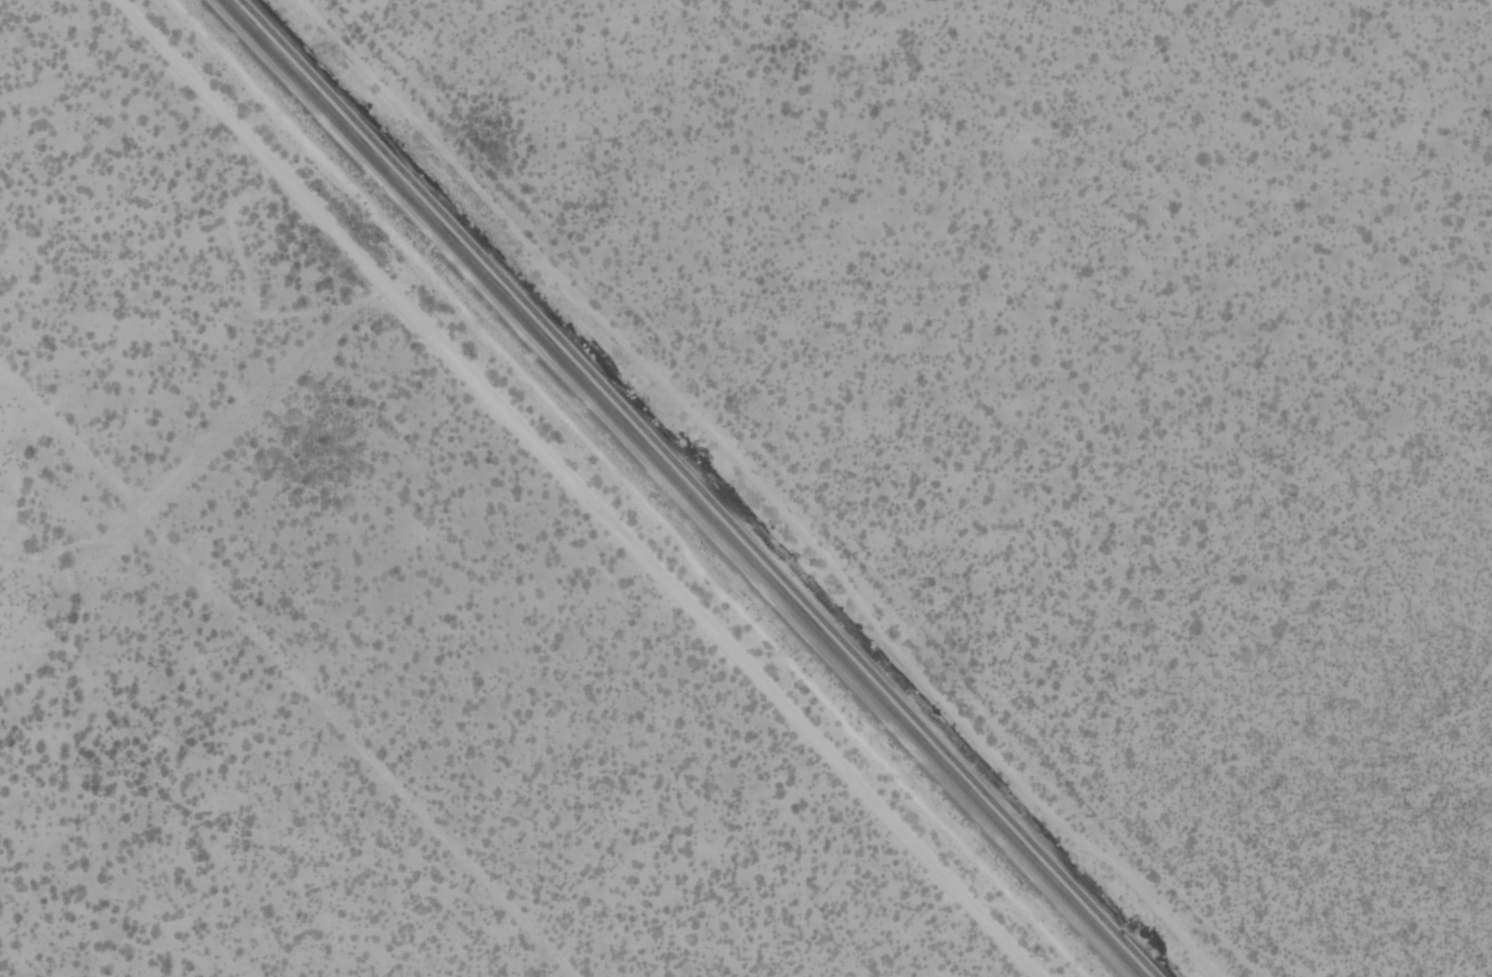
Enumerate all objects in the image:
road: (545, 488)
railway: (680, 488)
railway: (696, 488)
road: (754, 488)
road: (803, 490)
road: (288, 668)

